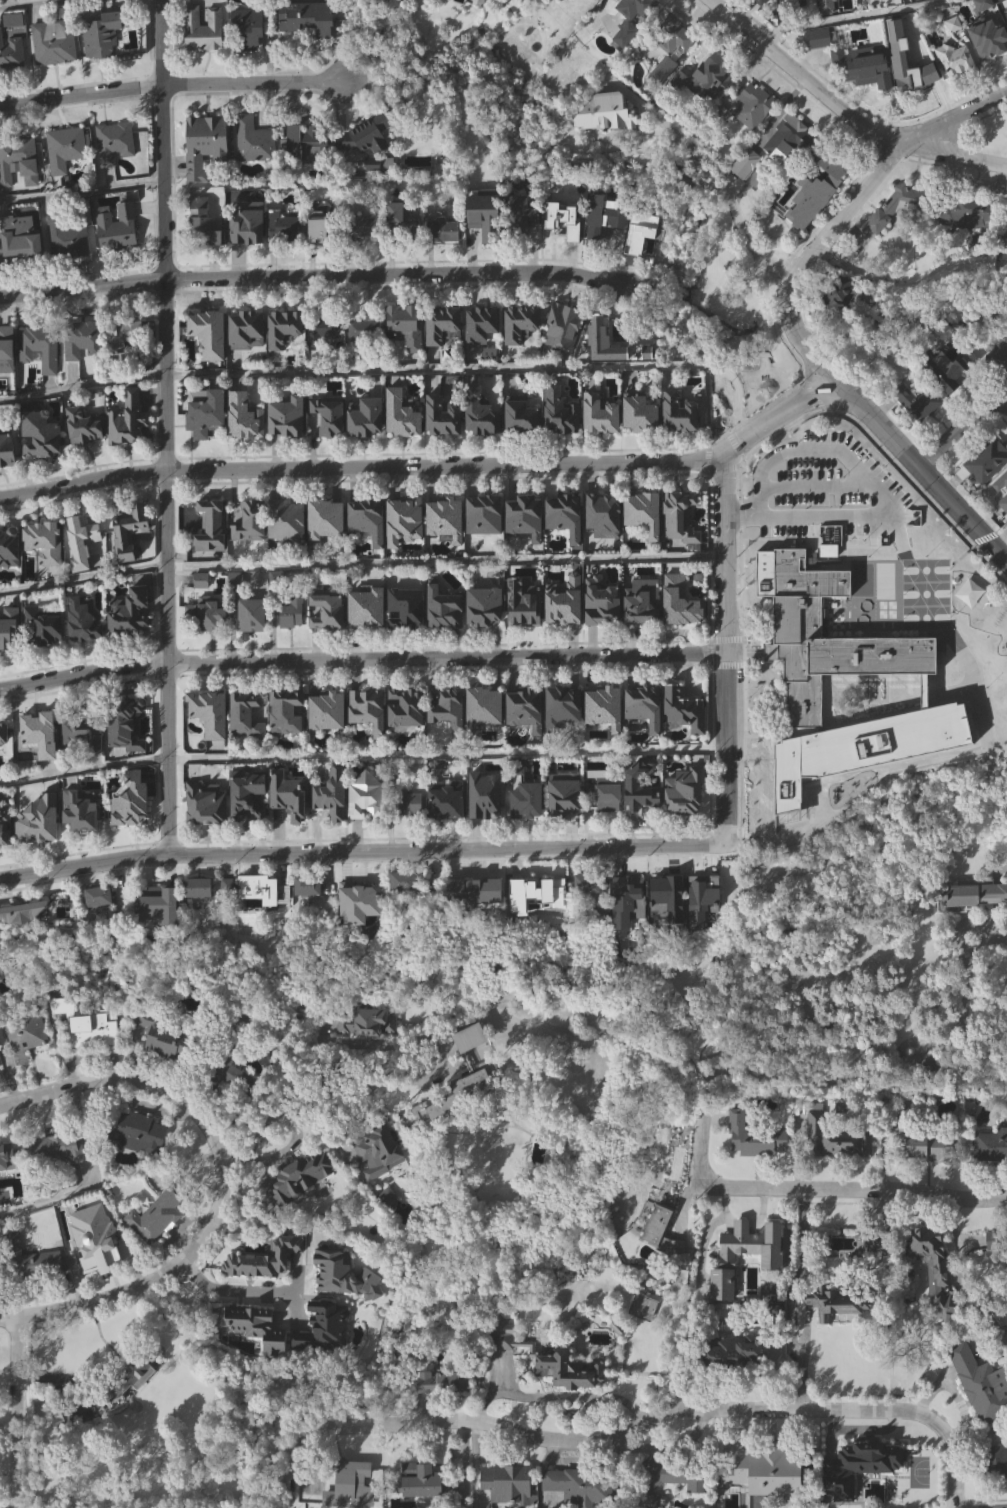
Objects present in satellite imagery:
building: (785, 0)
building: (871, 0)
building: (910, 0)
building: (760, 2)
building: (549, 3)
road: (33, 4)
building: (89, 5)
building: (636, 7)
building: (1004, 8)
building: (8, 9)
building: (422, 11)
building: (590, 11)
road: (845, 16)
building: (850, 16)
building: (307, 18)
building: (1000, 22)
building: (249, 26)
building: (201, 28)
building: (634, 30)
building: (984, 31)
building: (828, 34)
building: (100, 35)
building: (673, 35)
building: (53, 39)
building: (991, 45)
building: (309, 47)
building: (10, 54)
building: (205, 58)
building: (249, 58)
building: (954, 59)
building: (862, 62)
building: (103, 64)
building: (627, 64)
building: (711, 65)
building: (819, 67)
building: (918, 67)
building: (989, 67)
building: (677, 69)
building: (56, 71)
building: (12, 80)
road: (171, 83)
building: (956, 89)
building: (407, 90)
building: (715, 94)
building: (866, 94)
building: (920, 95)
building: (752, 105)
road: (843, 112)
building: (604, 114)
road: (954, 121)
building: (754, 134)
building: (365, 135)
building: (790, 136)
building: (253, 141)
building: (113, 142)
building: (304, 142)
building: (607, 142)
building: (204, 145)
building: (63, 148)
building: (17, 161)
building: (367, 164)
building: (790, 167)
building: (256, 169)
building: (116, 171)
building: (702, 171)
building: (306, 172)
building: (207, 173)
building: (825, 173)
building: (67, 176)
building: (754, 184)
road: (80, 190)
building: (19, 191)
building: (704, 200)
building: (900, 208)
building: (517, 216)
building: (818, 219)
building: (973, 219)
building: (400, 221)
building: (203, 222)
building: (478, 224)
building: (280, 226)
building: (243, 227)
building: (360, 227)
building: (441, 228)
building: (116, 229)
building: (315, 230)
building: (602, 230)
building: (65, 235)
building: (17, 237)
road: (751, 237)
building: (894, 238)
building: (966, 242)
building: (522, 243)
building: (402, 245)
building: (566, 248)
building: (206, 251)
building: (249, 252)
road: (807, 252)
building: (320, 254)
building: (285, 255)
building: (365, 255)
building: (120, 257)
building: (447, 258)
building: (644, 260)
building: (69, 263)
building: (22, 265)
building: (1006, 268)
road: (314, 275)
building: (836, 293)
building: (839, 322)
building: (519, 324)
building: (440, 325)
building: (480, 325)
building: (284, 326)
building: (400, 326)
building: (563, 326)
building: (245, 327)
building: (362, 327)
building: (322, 329)
building: (207, 332)
building: (123, 334)
building: (610, 336)
building: (80, 340)
building: (38, 347)
building: (523, 351)
building: (483, 352)
building: (444, 353)
building: (3, 354)
building: (407, 354)
building: (367, 355)
building: (565, 355)
building: (285, 356)
building: (998, 356)
building: (248, 358)
building: (325, 358)
building: (210, 361)
building: (122, 365)
building: (83, 368)
road: (484, 369)
building: (42, 376)
building: (491, 381)
road: (83, 384)
building: (1000, 387)
building: (918, 400)
building: (559, 412)
building: (679, 412)
building: (401, 413)
building: (600, 413)
building: (640, 413)
building: (479, 414)
building: (205, 416)
building: (285, 416)
building: (327, 416)
building: (447, 416)
building: (521, 416)
building: (126, 418)
building: (243, 418)
building: (369, 418)
road: (776, 418)
road: (166, 427)
building: (80, 428)
building: (916, 428)
building: (38, 433)
road: (962, 433)
building: (207, 439)
building: (482, 440)
building: (562, 441)
building: (404, 442)
building: (602, 442)
building: (642, 442)
building: (680, 442)
building: (331, 443)
building: (523, 443)
building: (289, 445)
building: (367, 445)
building: (445, 445)
building: (129, 447)
building: (6, 449)
building: (86, 455)
building: (983, 462)
building: (43, 463)
road: (360, 464)
road: (921, 467)
building: (7, 474)
building: (1000, 481)
building: (1003, 502)
building: (835, 507)
building: (566, 508)
building: (488, 510)
building: (605, 511)
building: (642, 511)
building: (1001, 511)
building: (679, 515)
building: (445, 517)
building: (366, 518)
building: (284, 519)
building: (322, 519)
building: (403, 520)
building: (249, 521)
building: (208, 525)
building: (127, 530)
building: (1004, 531)
building: (79, 540)
building: (645, 540)
building: (42, 541)
building: (486, 543)
building: (605, 543)
building: (567, 544)
building: (527, 545)
building: (681, 545)
road: (893, 546)
building: (8, 547)
building: (288, 547)
building: (447, 547)
building: (327, 548)
building: (369, 548)
building: (406, 548)
building: (252, 550)
building: (213, 554)
building: (131, 559)
road: (445, 560)
building: (84, 569)
building: (47, 570)
building: (10, 575)
road: (83, 578)
building: (564, 600)
building: (601, 602)
building: (642, 602)
building: (482, 605)
building: (364, 607)
building: (404, 607)
building: (442, 607)
building: (324, 608)
building: (290, 610)
building: (527, 610)
building: (127, 612)
building: (208, 614)
building: (249, 614)
building: (81, 618)
building: (972, 620)
building: (40, 625)
building: (566, 630)
building: (644, 630)
building: (682, 630)
building: (603, 631)
building: (486, 634)
building: (368, 636)
building: (408, 636)
building: (445, 636)
building: (7, 637)
building: (330, 637)
building: (131, 639)
building: (294, 640)
building: (209, 642)
building: (254, 643)
building: (86, 647)
road: (724, 652)
building: (45, 654)
building: (11, 658)
road: (361, 660)
building: (792, 688)
building: (645, 705)
building: (446, 706)
building: (404, 707)
building: (481, 707)
building: (561, 707)
building: (603, 707)
building: (366, 708)
building: (525, 708)
building: (325, 710)
building: (684, 711)
building: (245, 712)
building: (284, 712)
building: (209, 713)
building: (123, 723)
building: (435, 724)
building: (40, 729)
building: (80, 730)
building: (2, 732)
building: (647, 733)
building: (565, 734)
building: (370, 736)
building: (408, 736)
building: (450, 736)
building: (485, 736)
building: (606, 736)
building: (527, 737)
building: (329, 738)
building: (686, 739)
building: (212, 741)
building: (289, 741)
building: (128, 752)
road: (362, 755)
building: (5, 761)
building: (43, 761)
building: (84, 761)
building: (640, 784)
building: (684, 790)
building: (607, 792)
building: (329, 793)
building: (366, 793)
building: (285, 794)
building: (483, 795)
building: (245, 796)
building: (444, 798)
building: (128, 800)
building: (526, 800)
building: (567, 801)
building: (205, 803)
building: (408, 803)
building: (79, 809)
building: (641, 816)
building: (608, 818)
building: (36, 819)
building: (686, 820)
building: (333, 822)
building: (5, 823)
building: (290, 823)
building: (369, 823)
building: (249, 824)
building: (486, 824)
building: (448, 828)
building: (132, 829)
building: (529, 829)
building: (208, 831)
building: (412, 831)
building: (84, 837)
building: (41, 848)
road: (362, 851)
building: (6, 853)
building: (461, 880)
building: (586, 880)
building: (400, 881)
building: (353, 884)
building: (306, 886)
building: (260, 890)
building: (195, 891)
building: (974, 893)
building: (405, 909)
building: (589, 912)
building: (229, 914)
building: (310, 914)
building: (201, 915)
building: (266, 918)
building: (477, 919)
building: (538, 922)
building: (971, 923)
building: (669, 926)
building: (99, 927)
building: (362, 930)
building: (628, 931)
building: (159, 933)
building: (22, 941)
road: (969, 1011)
building: (365, 1023)
building: (86, 1024)
building: (24, 1033)
building: (164, 1035)
building: (376, 1050)
building: (468, 1051)
building: (90, 1053)
building: (347, 1054)
building: (223, 1063)
building: (29, 1064)
building: (161, 1064)
building: (472, 1065)
building: (931, 1071)
road: (310, 1076)
building: (935, 1093)
building: (455, 1101)
building: (235, 1103)
building: (463, 1120)
building: (902, 1121)
building: (137, 1133)
building: (753, 1136)
building: (834, 1137)
building: (990, 1145)
building: (930, 1147)
building: (55, 1148)
building: (377, 1152)
building: (6, 1157)
building: (140, 1161)
building: (757, 1164)
building: (837, 1165)
building: (991, 1173)
building: (928, 1174)
building: (62, 1175)
building: (298, 1177)
building: (380, 1179)
road: (219, 1183)
building: (8, 1184)
road: (794, 1190)
building: (304, 1203)
building: (156, 1216)
building: (389, 1225)
building: (661, 1230)
building: (876, 1239)
building: (996, 1240)
building: (158, 1244)
building: (664, 1259)
building: (27, 1260)
building: (770, 1262)
building: (97, 1266)
building: (933, 1267)
road: (966, 1269)
building: (877, 1272)
road: (797, 1277)
road: (233, 1287)
building: (266, 1287)
building: (33, 1288)
building: (772, 1289)
building: (935, 1296)
building: (838, 1301)
building: (346, 1302)
building: (840, 1332)
building: (501, 1336)
building: (734, 1350)
building: (257, 1353)
building: (326, 1356)
road: (801, 1361)
building: (565, 1370)
building: (736, 1378)
building: (440, 1384)
building: (978, 1384)
building: (106, 1394)
road: (557, 1396)
building: (571, 1398)
building: (506, 1399)
building: (448, 1409)
building: (980, 1410)
road: (16, 1415)
road: (631, 1427)
building: (995, 1459)
building: (767, 1472)
building: (671, 1475)
building: (419, 1480)
building: (506, 1482)
building: (349, 1483)
building: (576, 1485)
building: (864, 1488)
building: (997, 1488)
building: (764, 1493)
building: (508, 1500)
building: (675, 1500)
building: (426, 1501)
building: (574, 1502)

